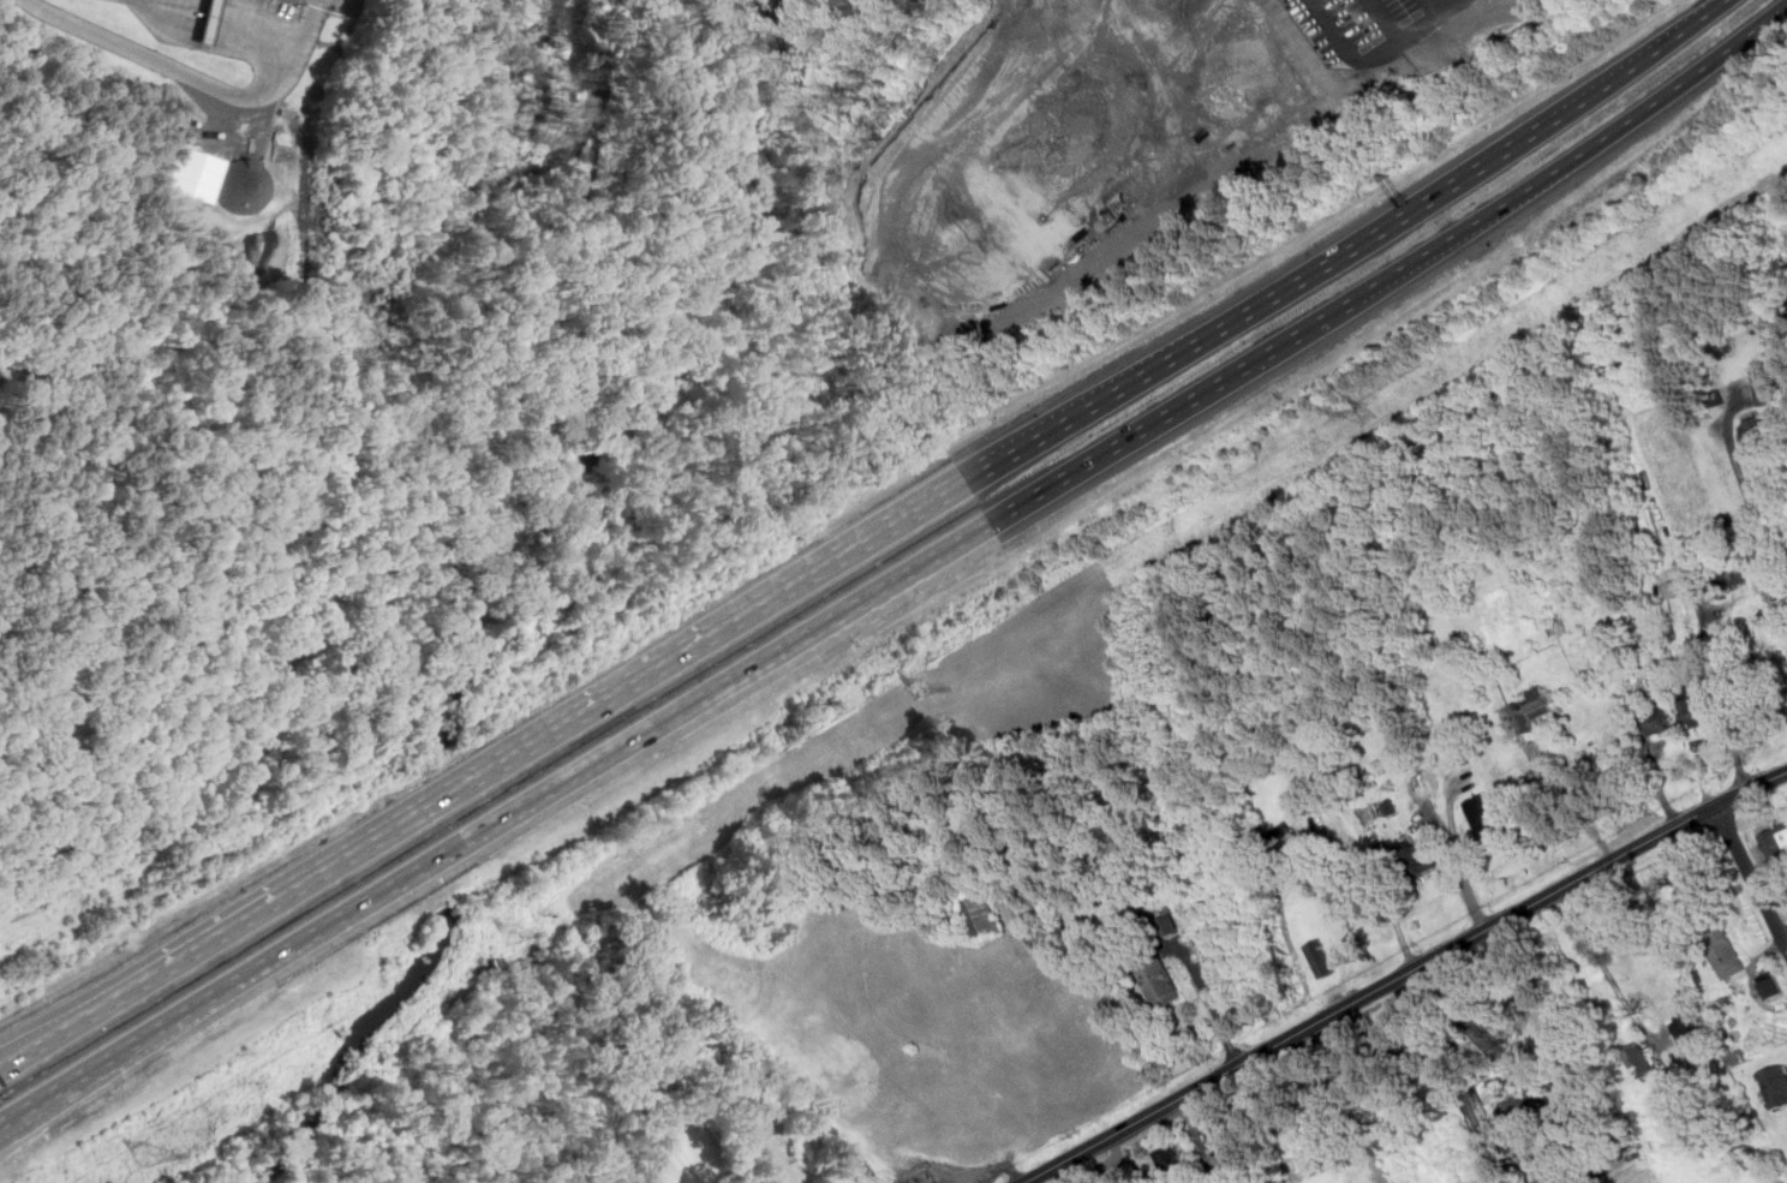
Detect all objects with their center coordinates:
road: (179, 6)
road: (1434, 7)
road: (210, 14)
building: (209, 20)
road: (1386, 22)
road: (303, 24)
road: (253, 32)
road: (1654, 50)
road: (1379, 56)
road: (166, 65)
road: (305, 142)
road: (1573, 157)
building: (189, 174)
road: (1301, 279)
building: (1768, 384)
road: (1172, 411)
power tower: (1367, 412)
building: (1764, 431)
road: (990, 464)
road: (1741, 474)
building: (1733, 575)
road: (1692, 585)
building: (1673, 587)
building: (1642, 621)
power tower: (919, 688)
building: (1528, 710)
building: (1693, 711)
building: (1660, 717)
road: (543, 735)
building: (1301, 770)
road: (1572, 797)
road: (519, 807)
road: (1452, 815)
building: (1487, 817)
building: (1284, 834)
building: (1776, 842)
building: (1333, 856)
building: (1417, 856)
road: (1460, 865)
road: (1374, 870)
road: (1751, 872)
building: (1340, 886)
building: (985, 915)
building: (1170, 924)
power tower: (514, 936)
building: (1726, 954)
building: (1321, 957)
road: (1606, 968)
road: (1404, 974)
building: (1160, 981)
building: (1773, 987)
road: (1214, 1006)
road: (60, 1018)
road: (60, 1028)
building: (1687, 1029)
building: (1642, 1062)
building: (1775, 1085)
road: (1347, 1104)
road: (24, 1109)
building: (1225, 1134)
power tower: (150, 1158)
building: (1172, 1159)
building: (1536, 1160)
building: (1123, 1176)

